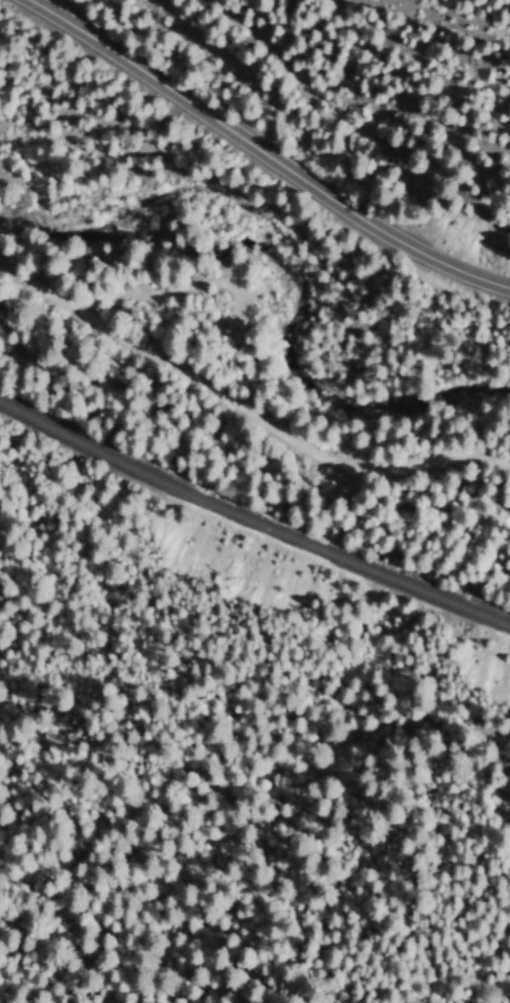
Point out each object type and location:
road: (264, 155)
road: (239, 476)
railway: (251, 521)

